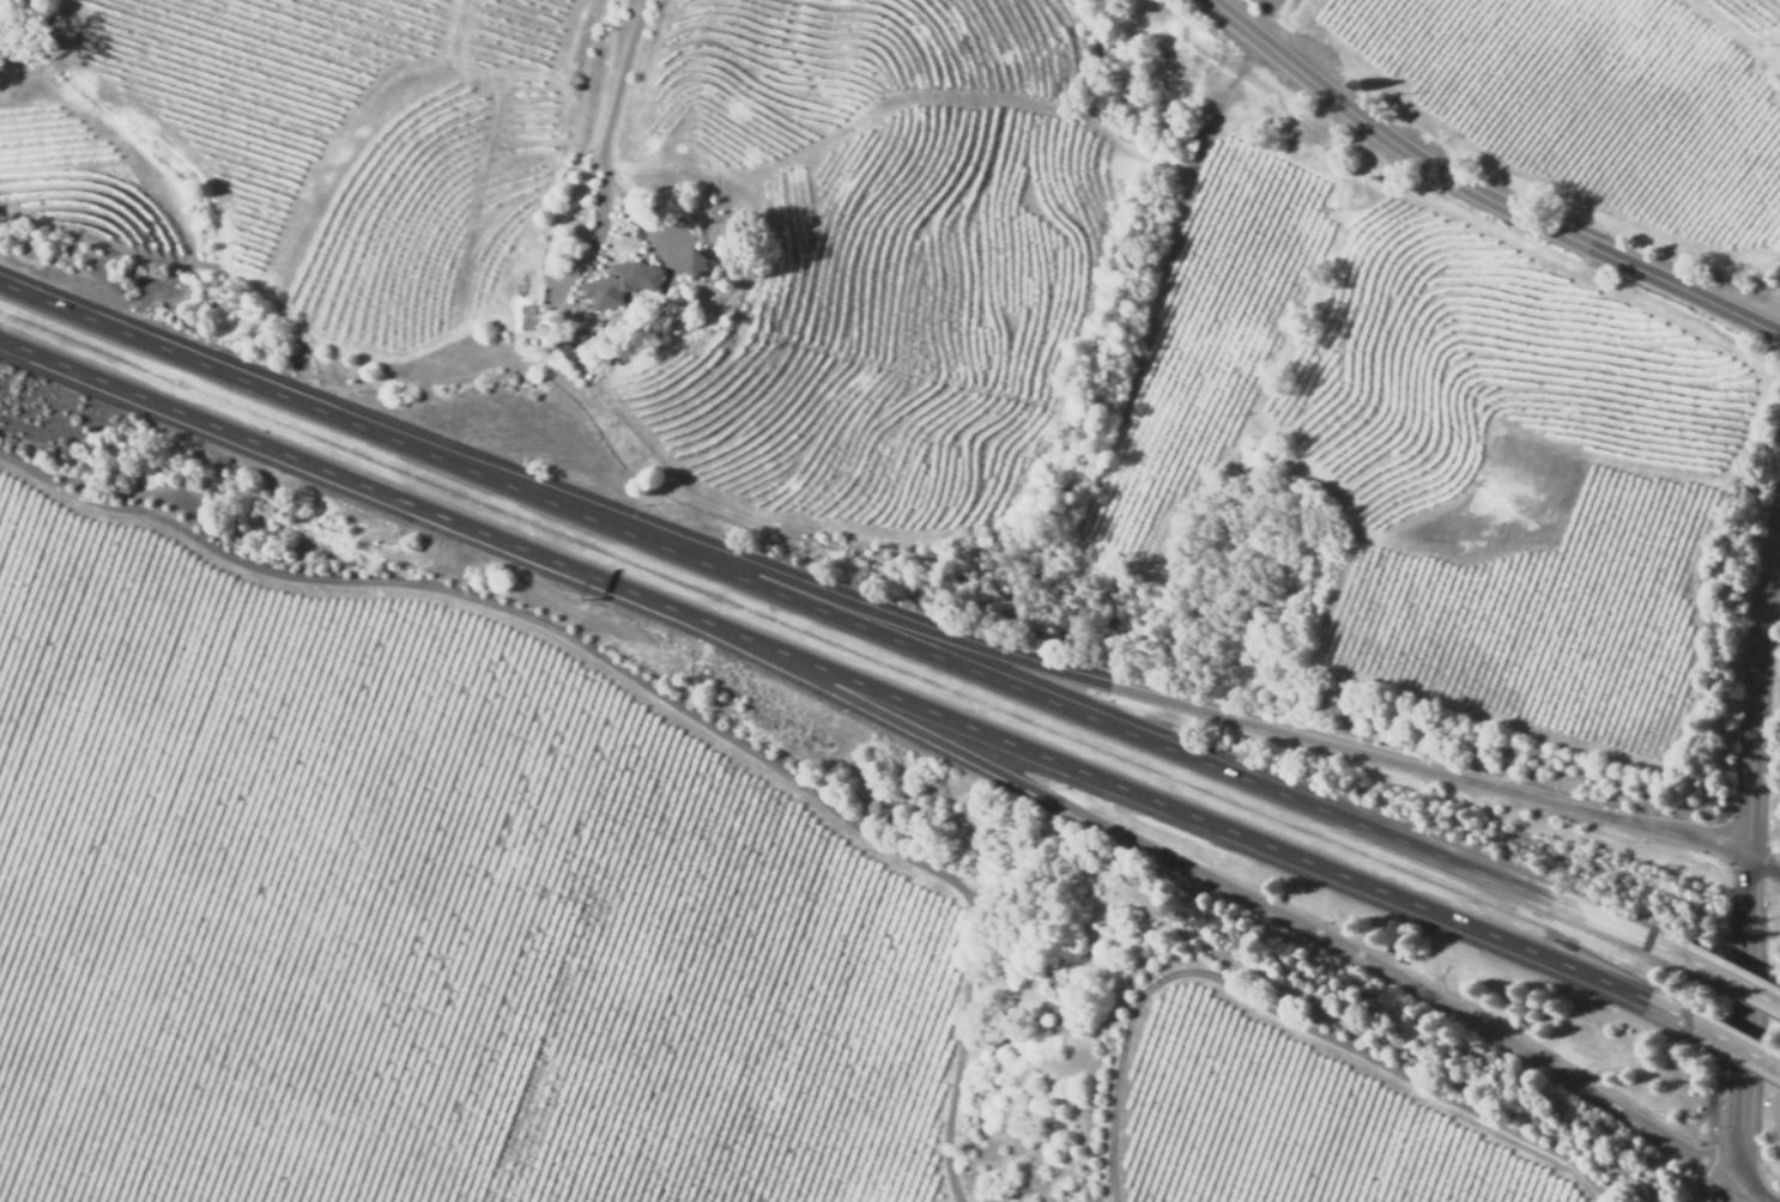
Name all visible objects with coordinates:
road: (1260, 17)
building: (34, 20)
road: (629, 86)
road: (1477, 196)
building: (691, 265)
building: (618, 285)
road: (1171, 298)
road: (852, 626)
road: (853, 688)
road: (1257, 728)
road: (1749, 858)
road: (1764, 863)
road: (1286, 911)
road: (1743, 989)
road: (1745, 1049)
road: (817, 1129)
road: (289, 1155)
road: (1738, 1192)
road: (1754, 1192)

